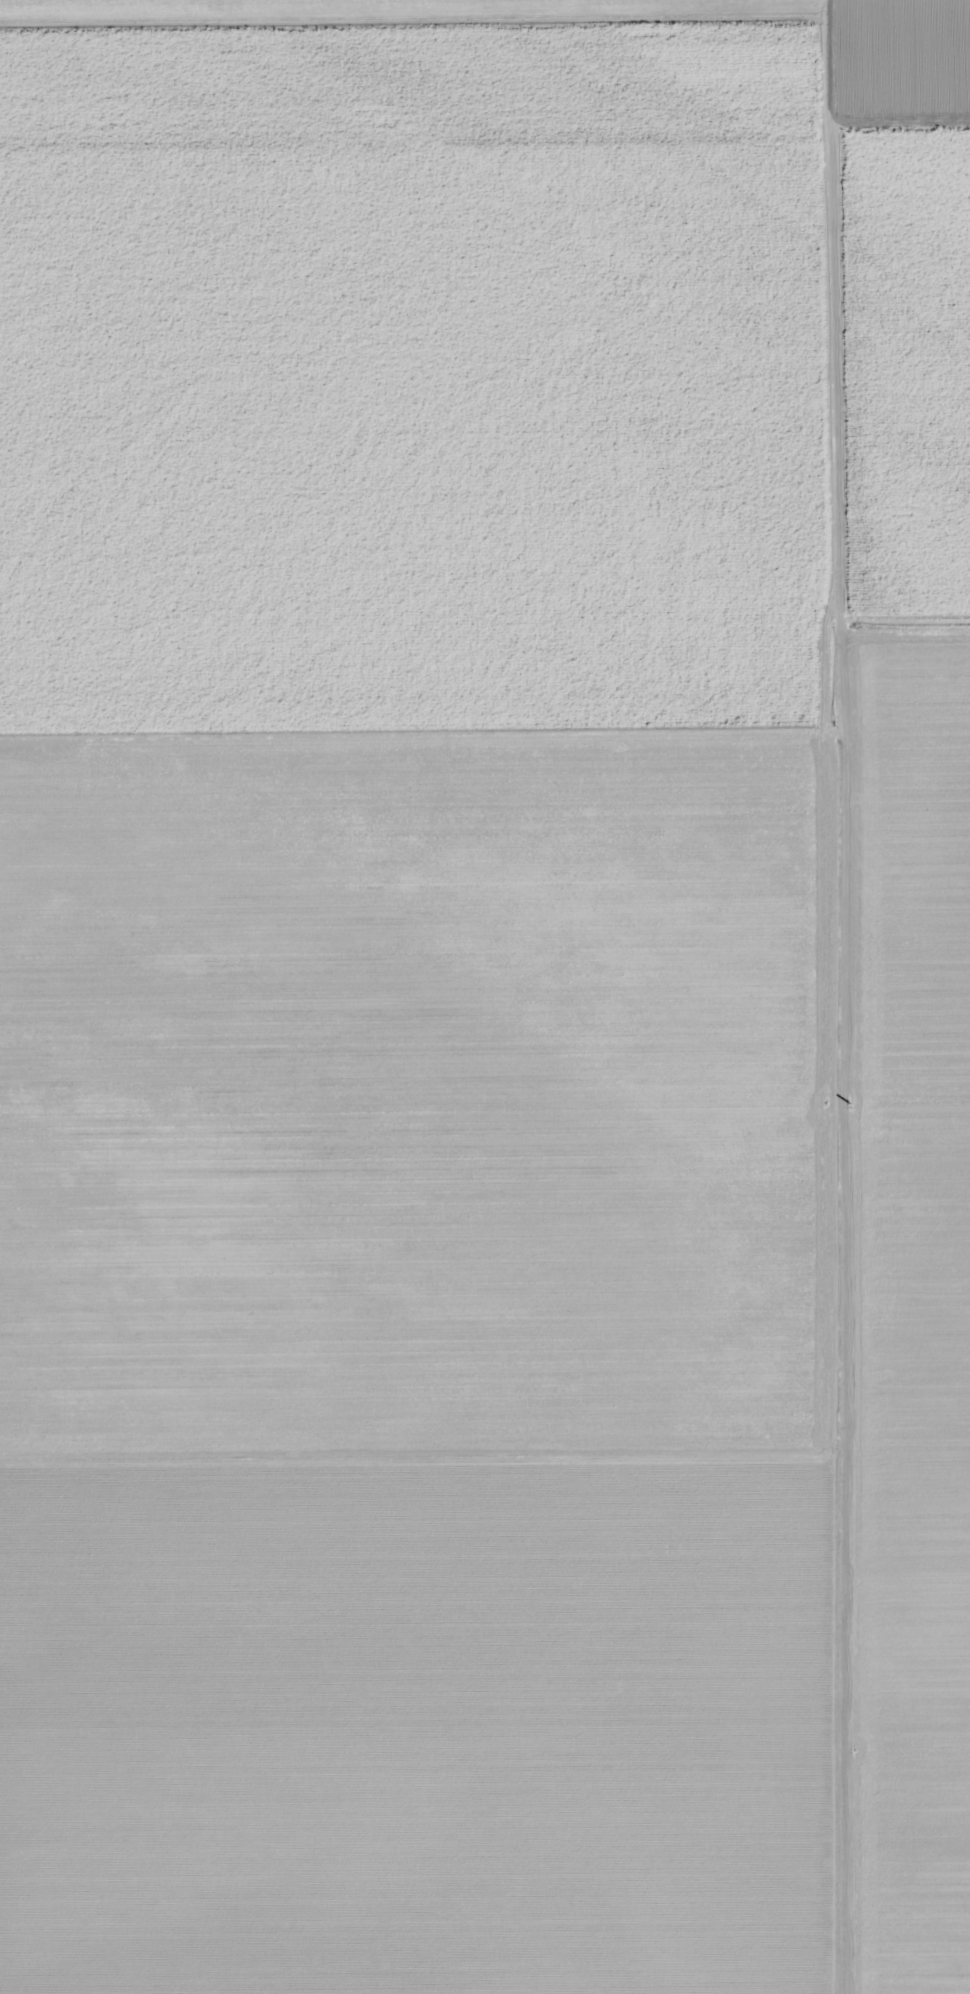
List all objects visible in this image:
road: (843, 994)

